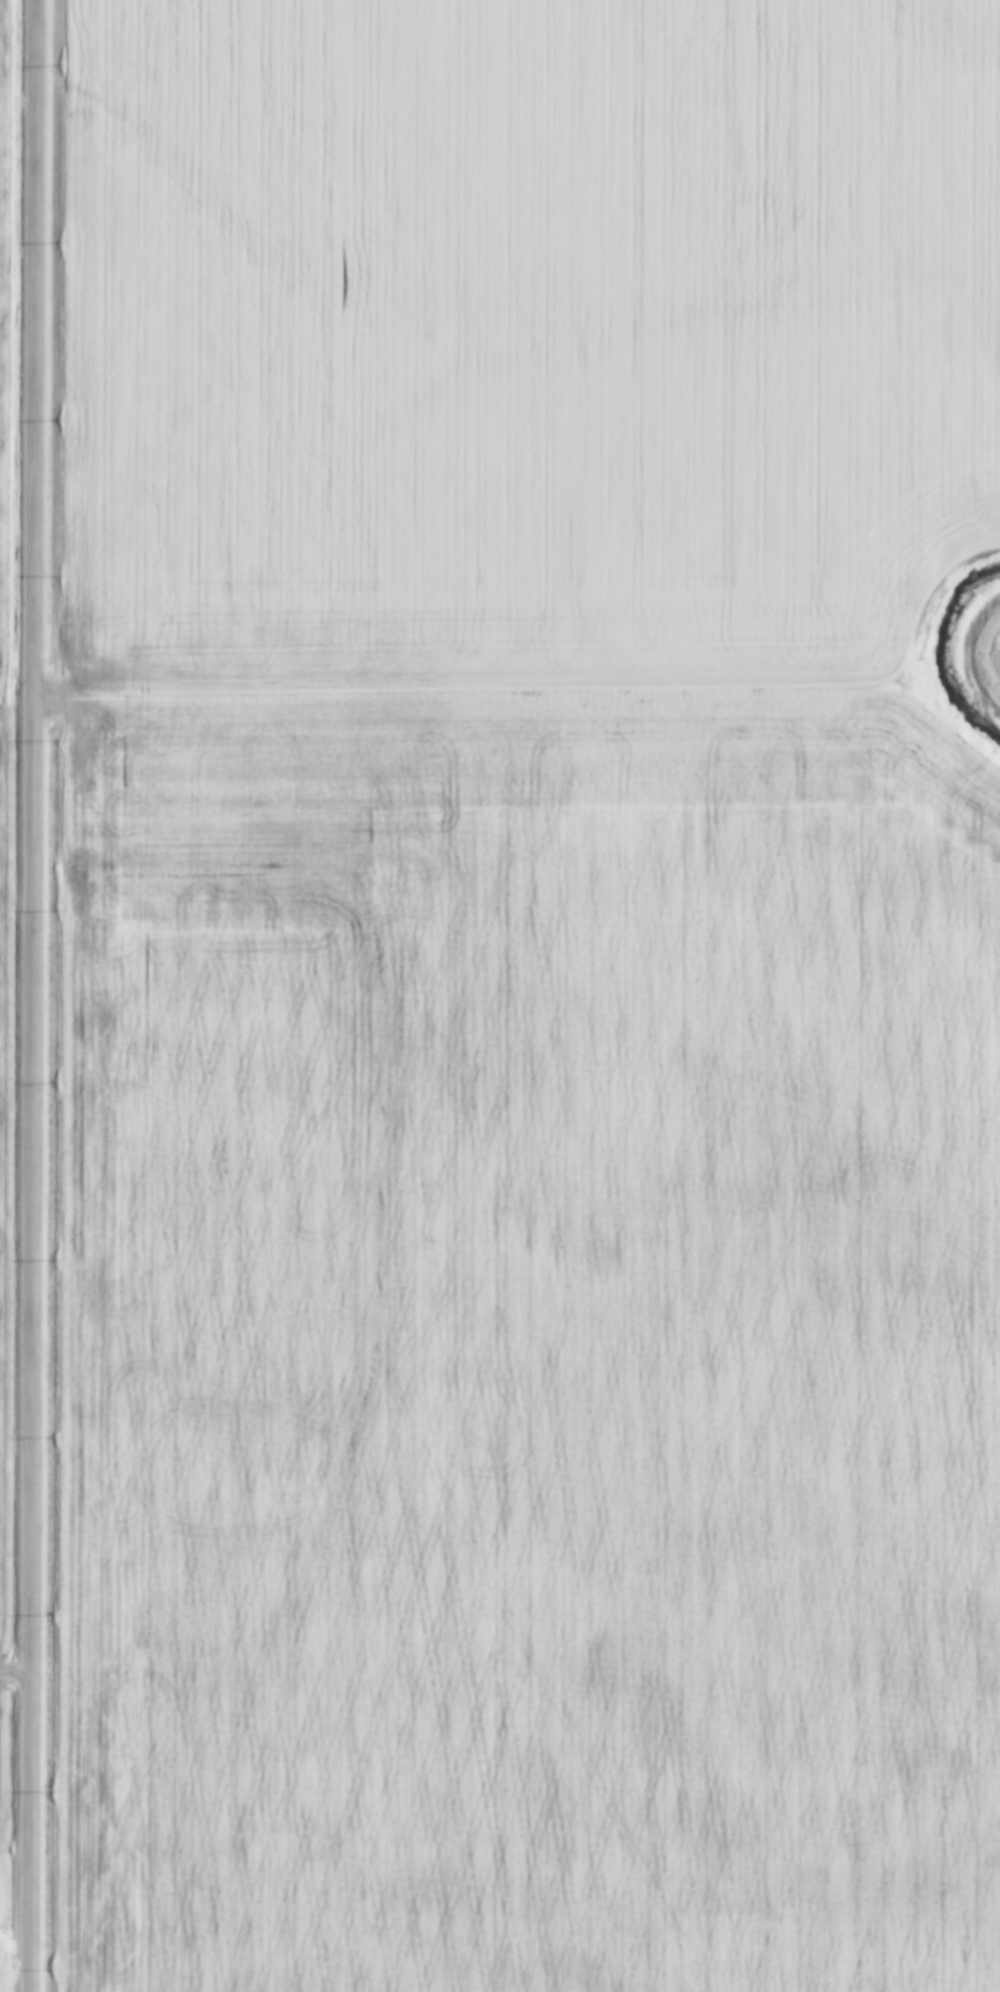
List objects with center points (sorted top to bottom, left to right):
road: (37, 995)

